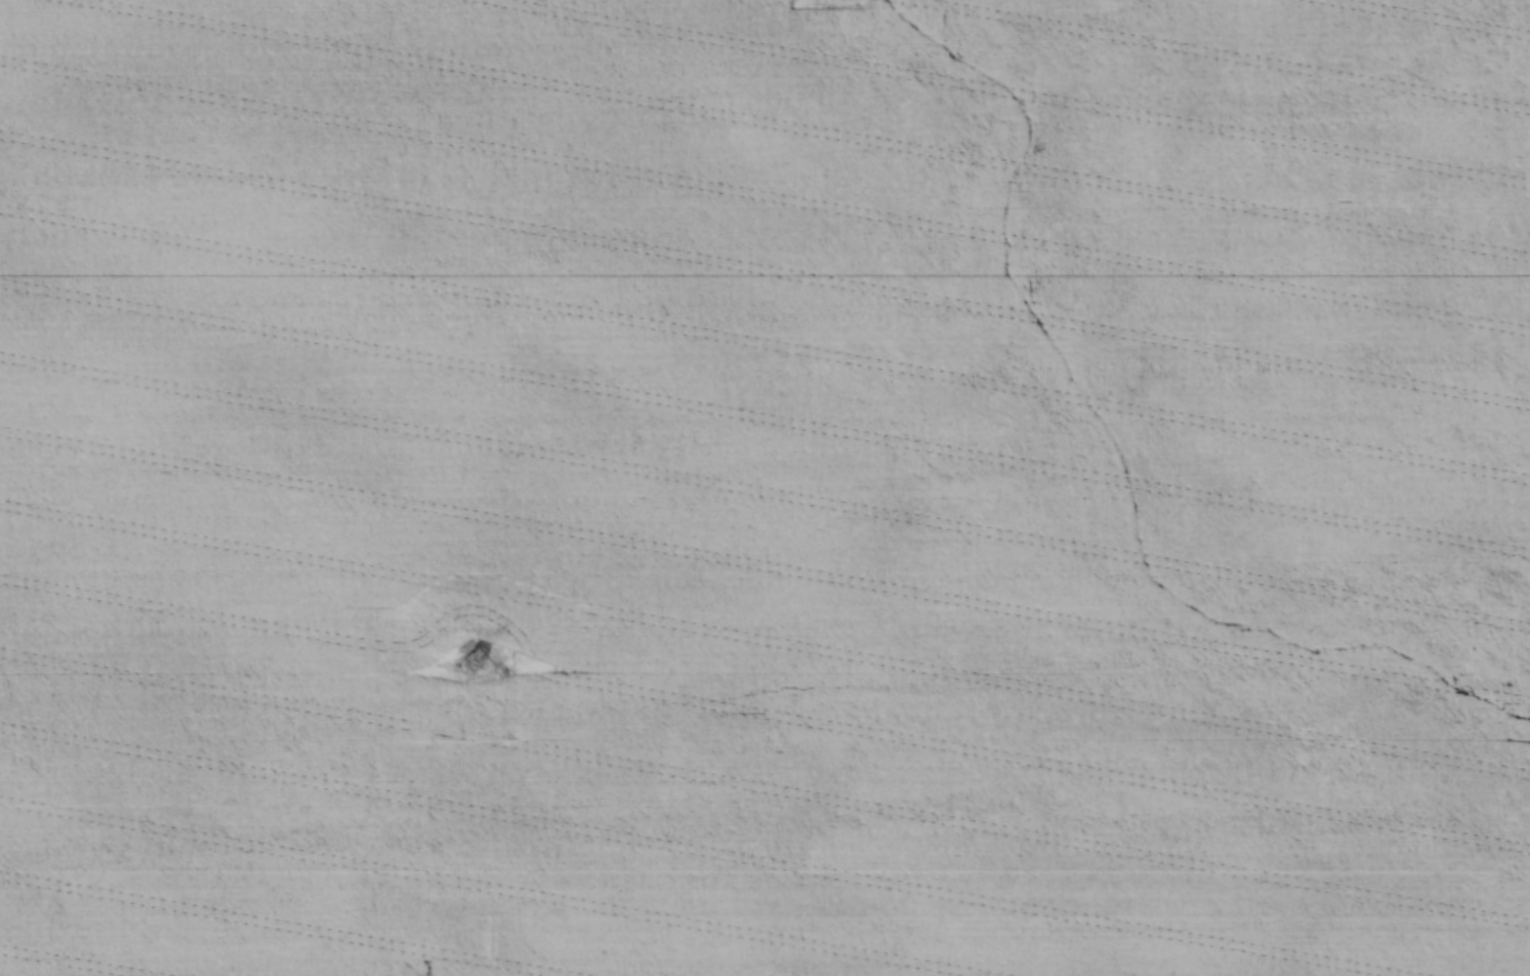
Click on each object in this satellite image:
power tower: (476, 665)

